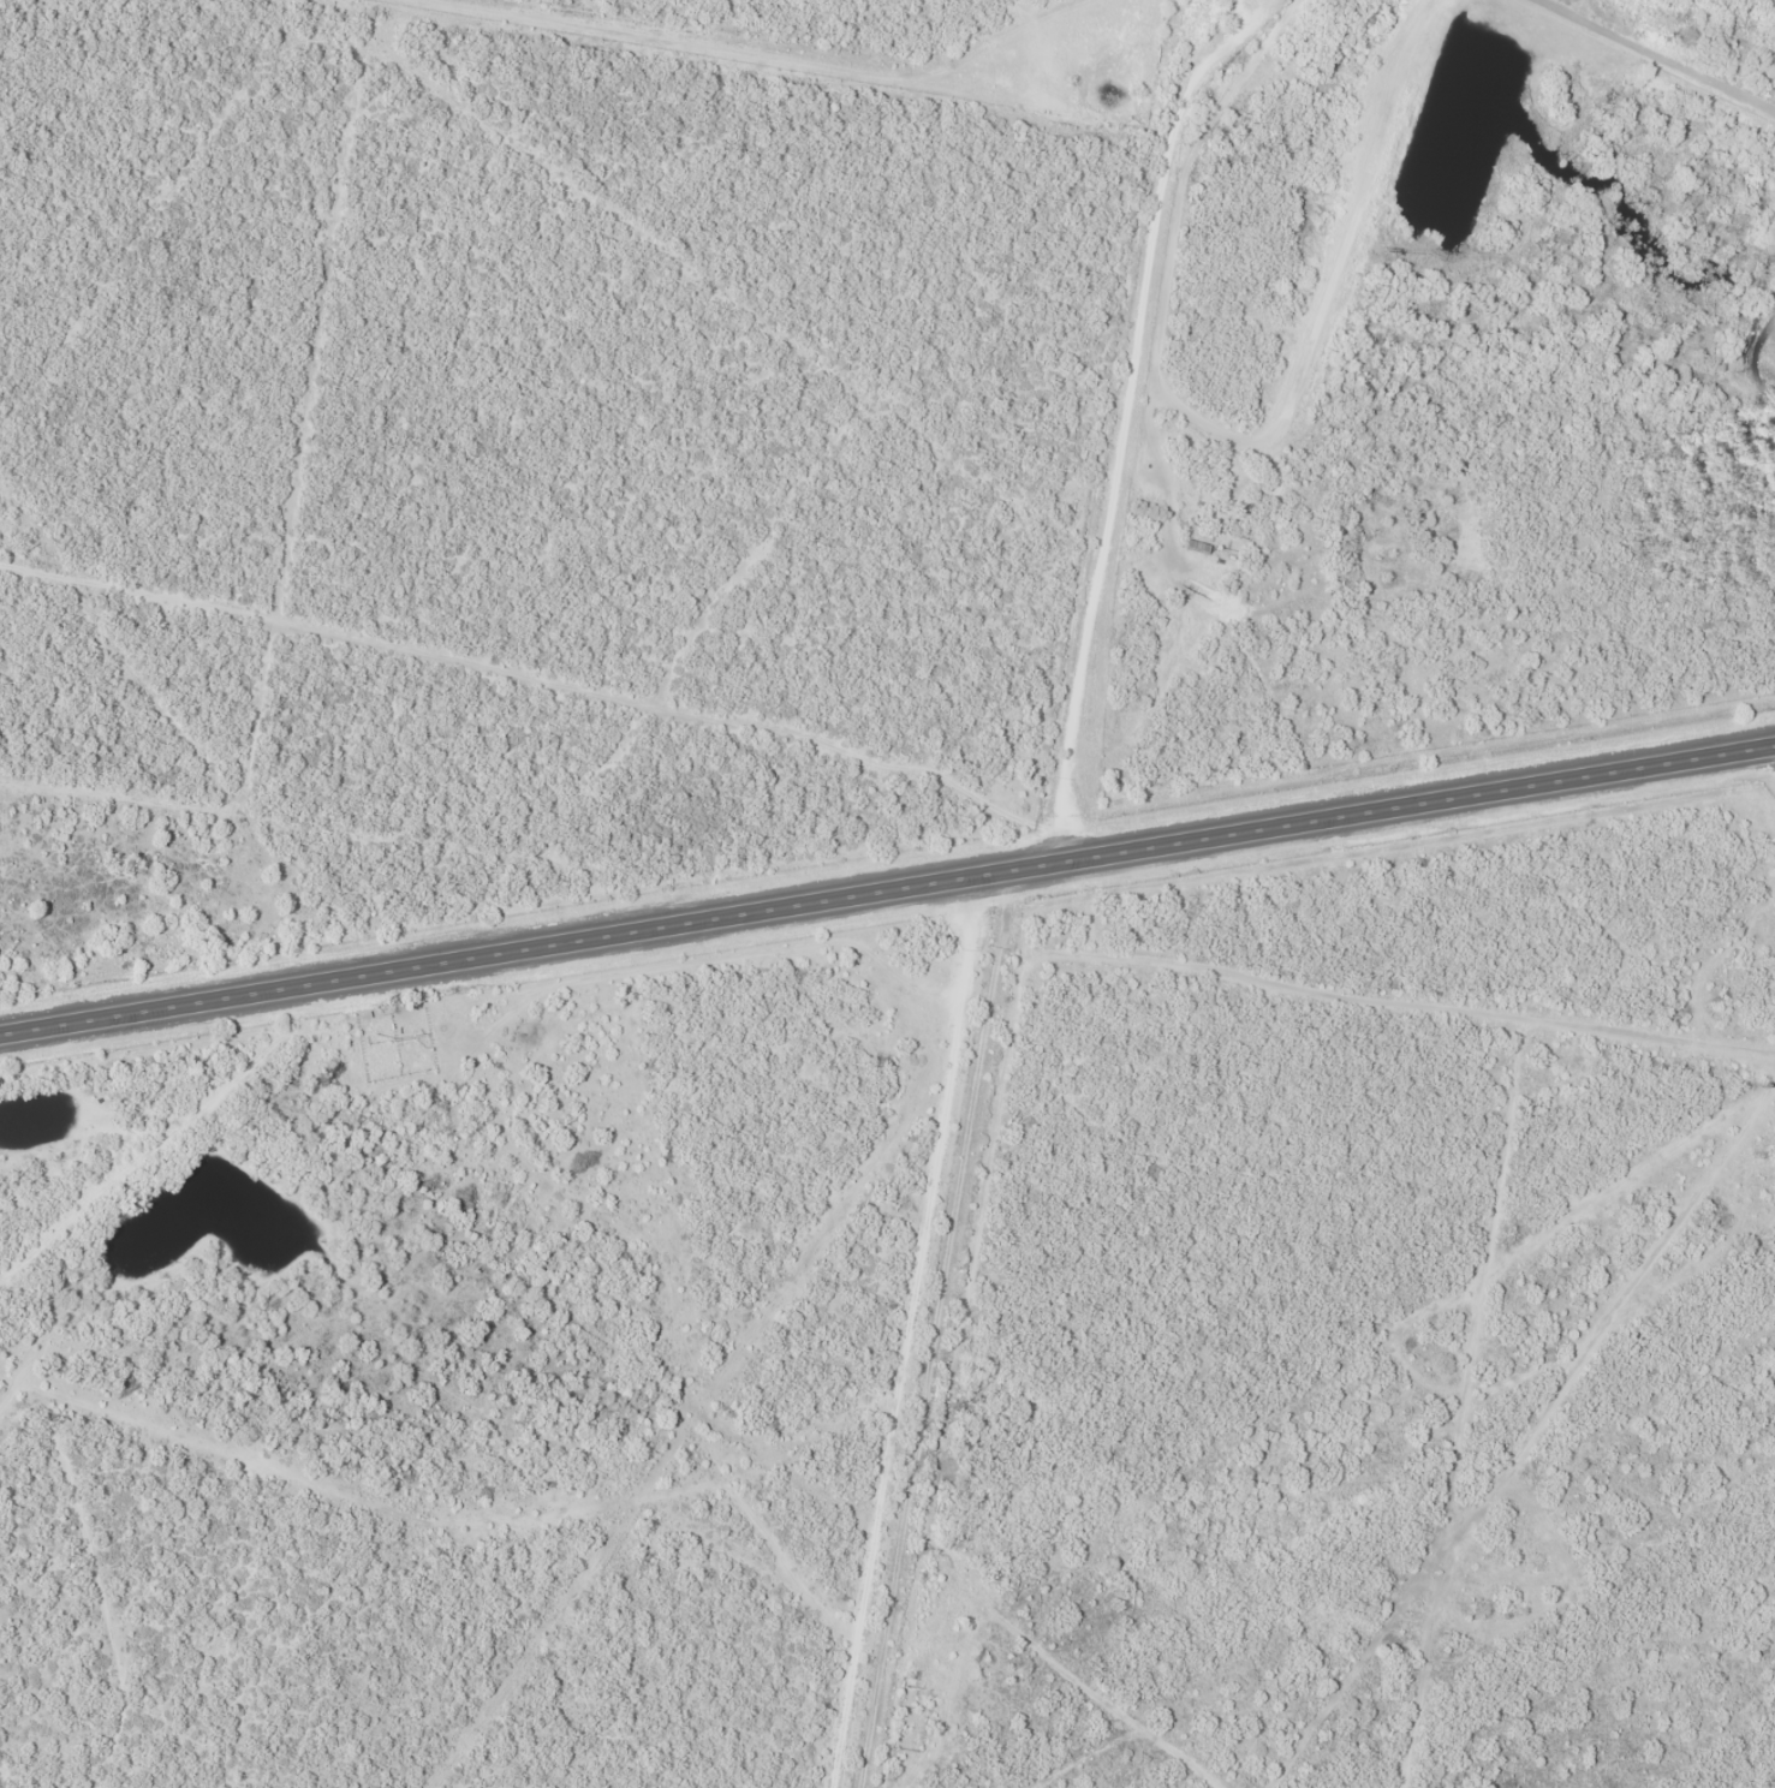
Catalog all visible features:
road: (1122, 431)
building: (1196, 547)
road: (532, 670)
road: (888, 889)
road: (919, 1330)

